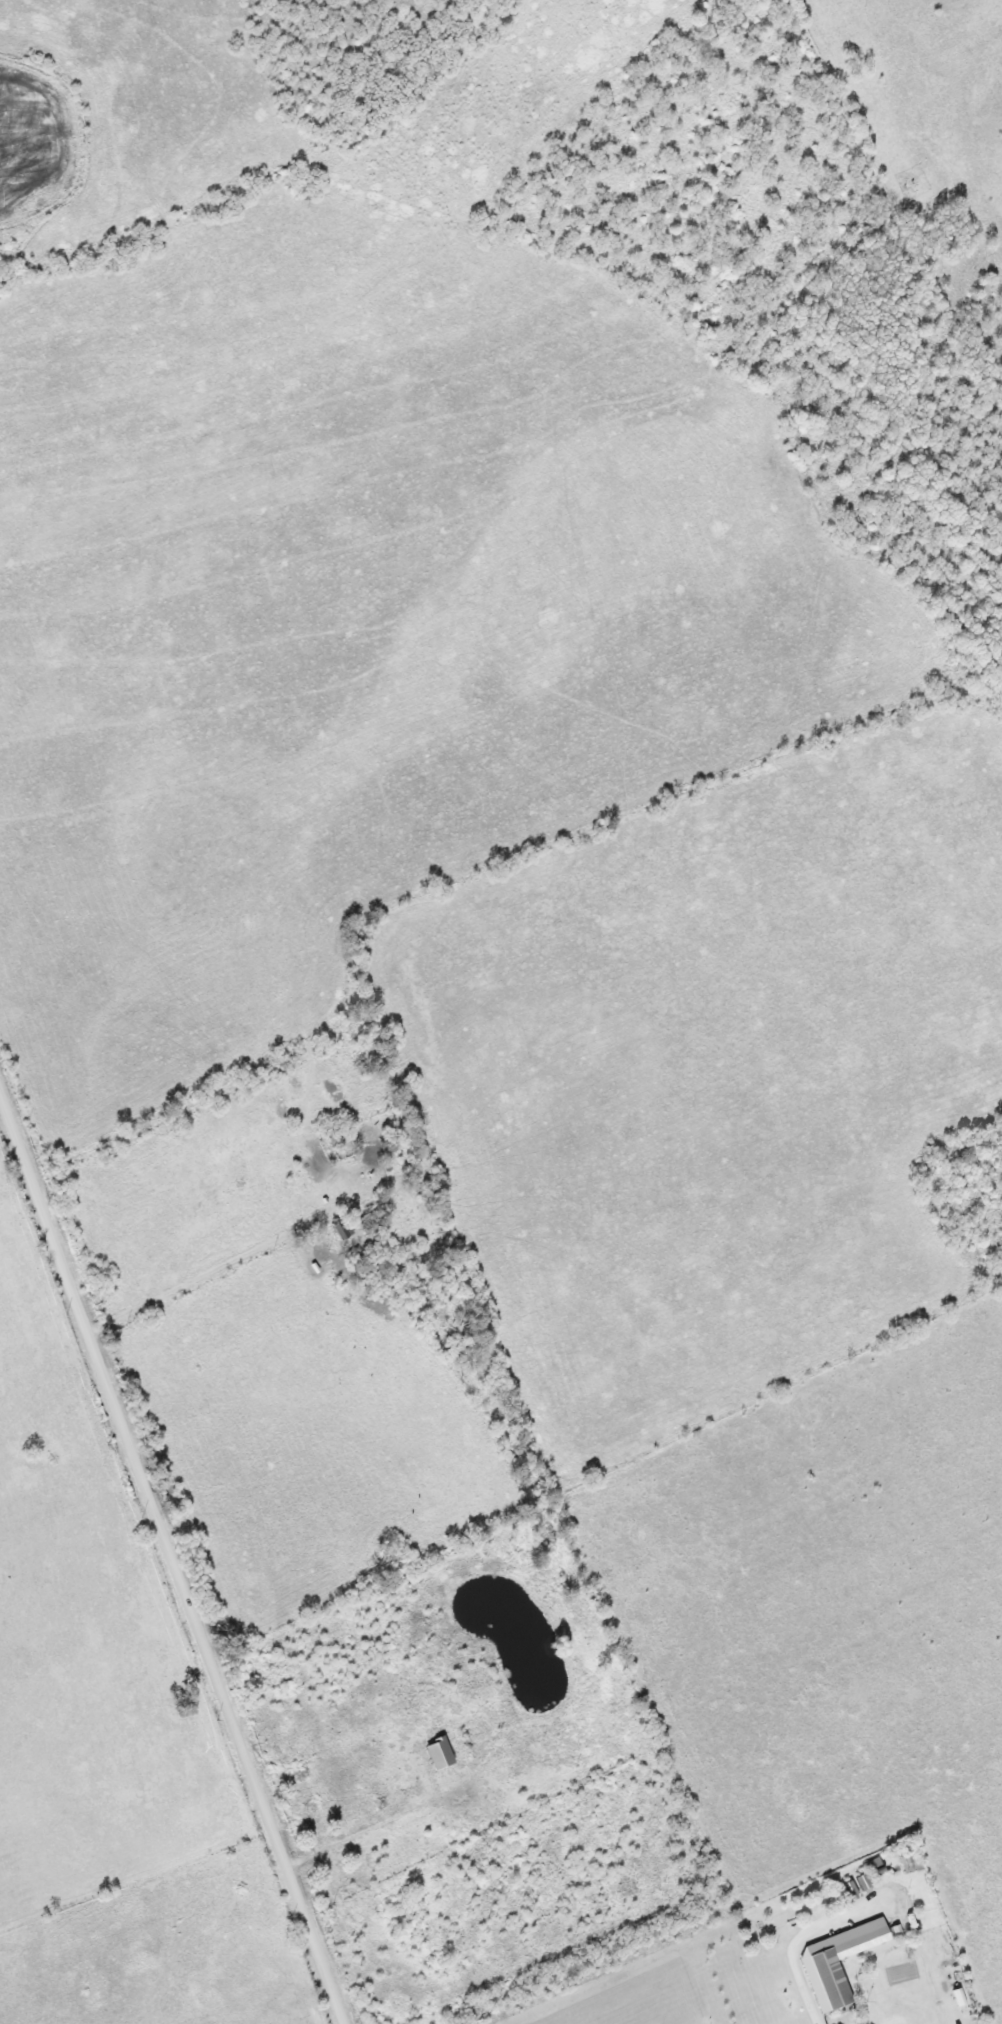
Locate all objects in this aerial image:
building: (339, 1228)
road: (201, 1277)
road: (170, 1564)
building: (435, 1754)
building: (860, 1883)
road: (789, 1955)
building: (834, 1961)

